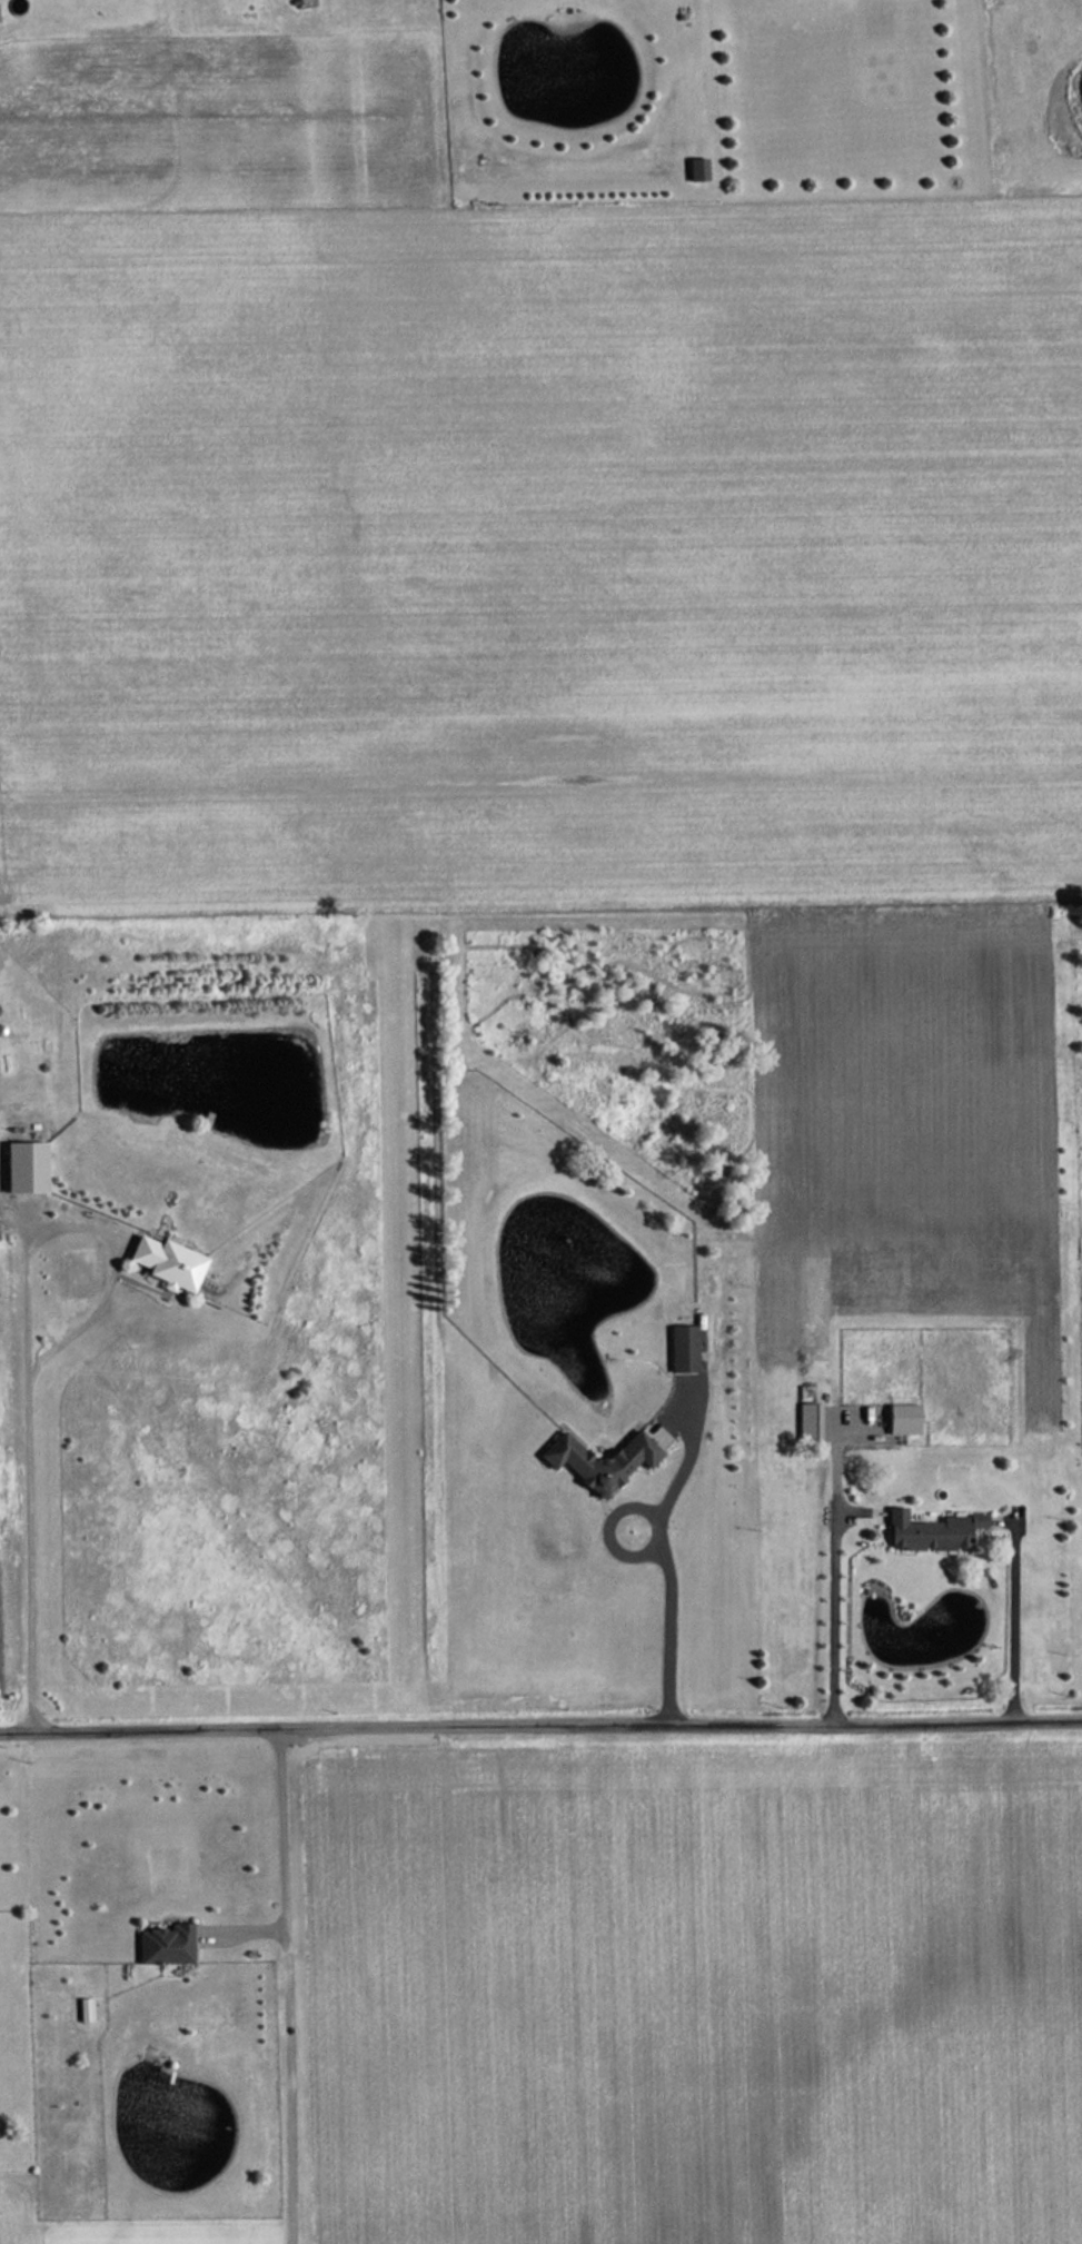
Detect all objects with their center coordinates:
building: (698, 168)
crop: (544, 554)
building: (27, 1166)
building: (168, 1262)
building: (684, 1349)
road: (28, 1351)
building: (905, 1419)
building: (808, 1420)
building: (656, 1439)
building: (602, 1466)
building: (932, 1531)
road: (672, 1614)
road: (1018, 1617)
road: (837, 1620)
road: (540, 1724)
building: (163, 1945)
road: (284, 1986)
building: (85, 2009)

